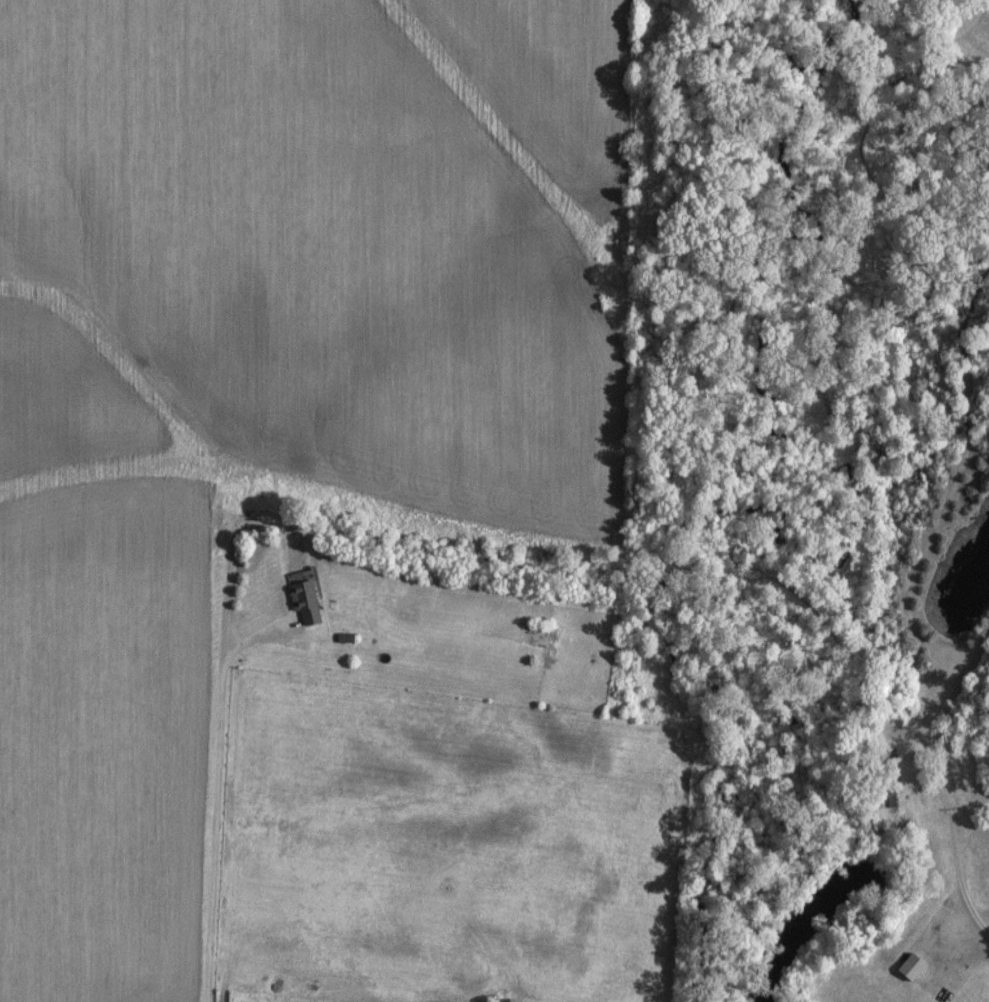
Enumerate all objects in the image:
building: (302, 600)
road: (946, 779)
road: (219, 805)
road: (988, 916)
building: (499, 999)

